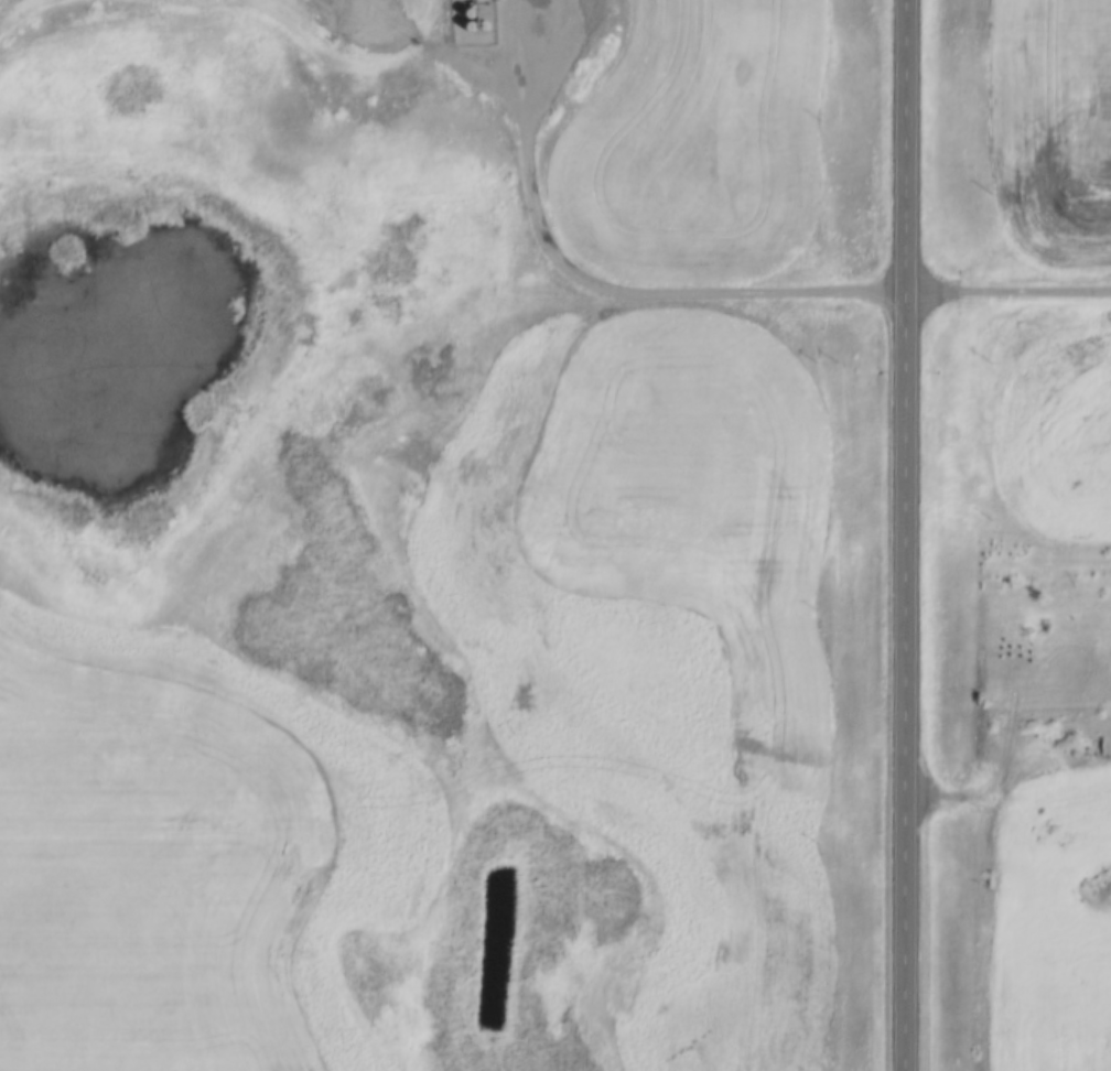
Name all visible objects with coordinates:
road: (590, 282)
road: (1005, 285)
road: (900, 534)
road: (1005, 792)

